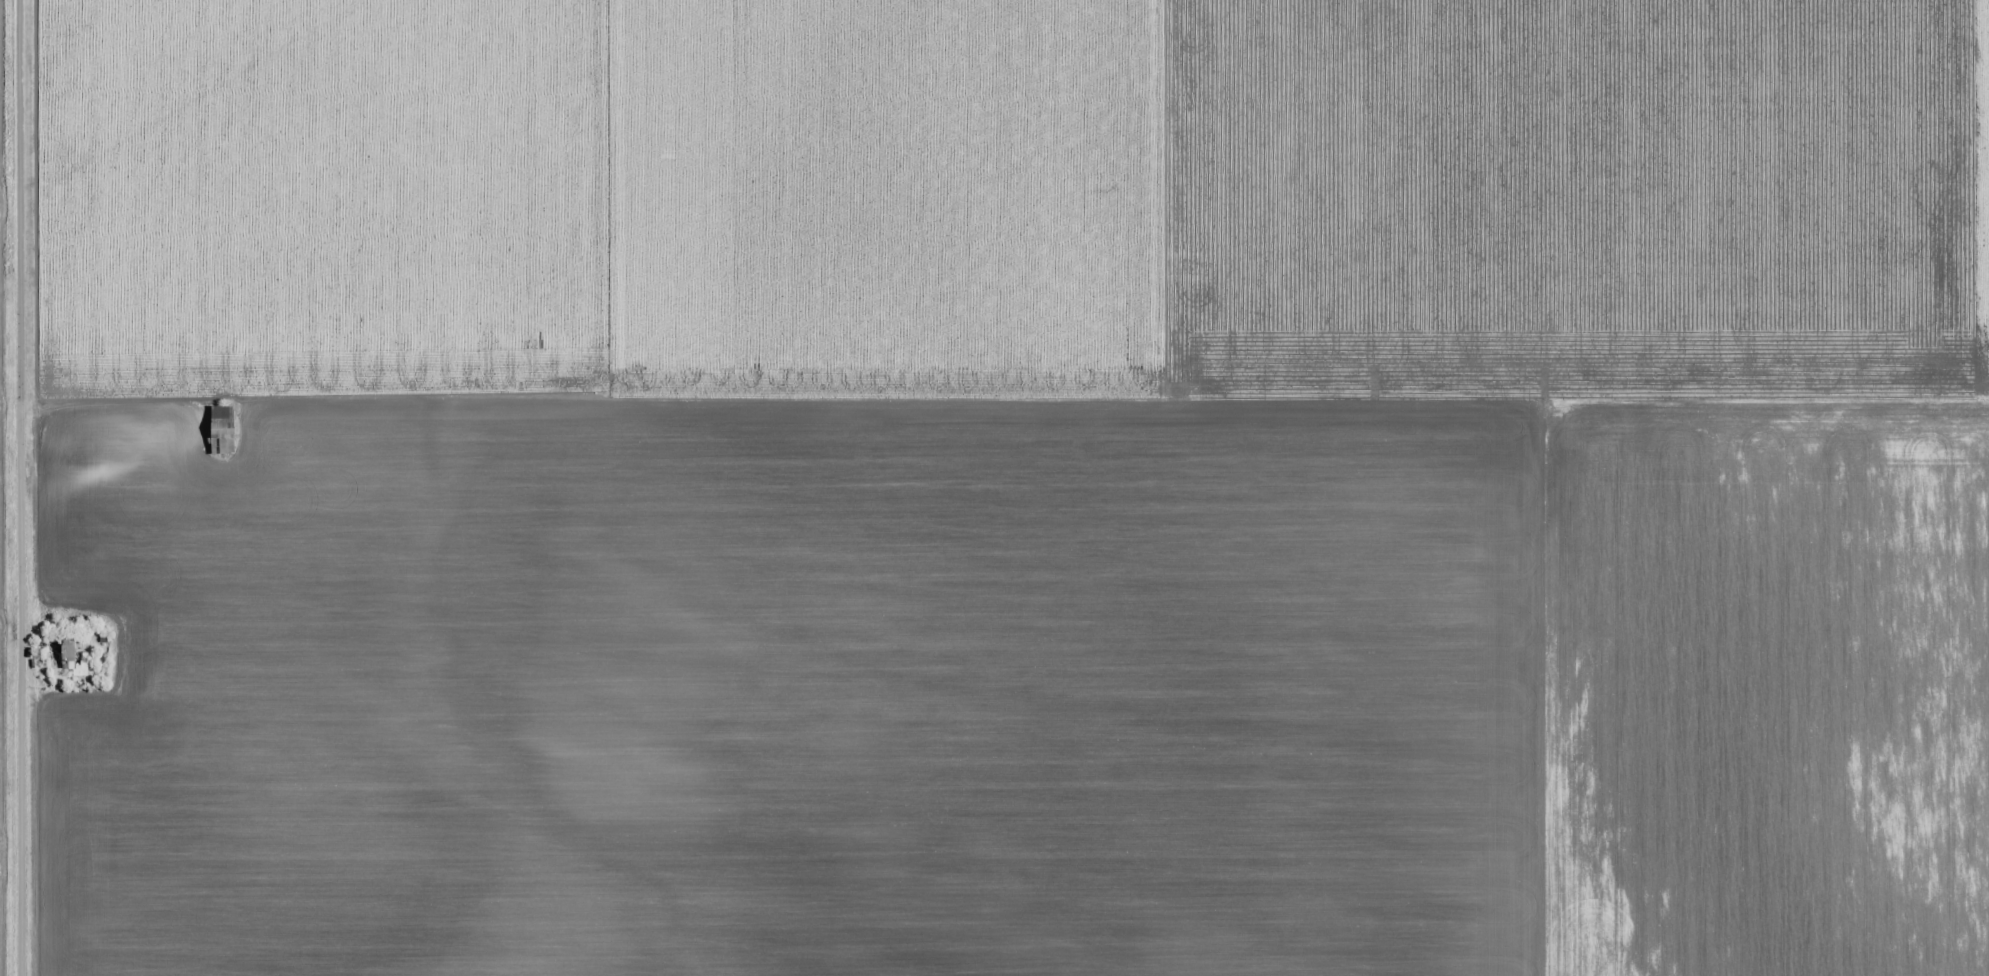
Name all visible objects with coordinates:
building: (221, 430)
building: (1941, 465)
road: (21, 487)
building: (71, 658)

